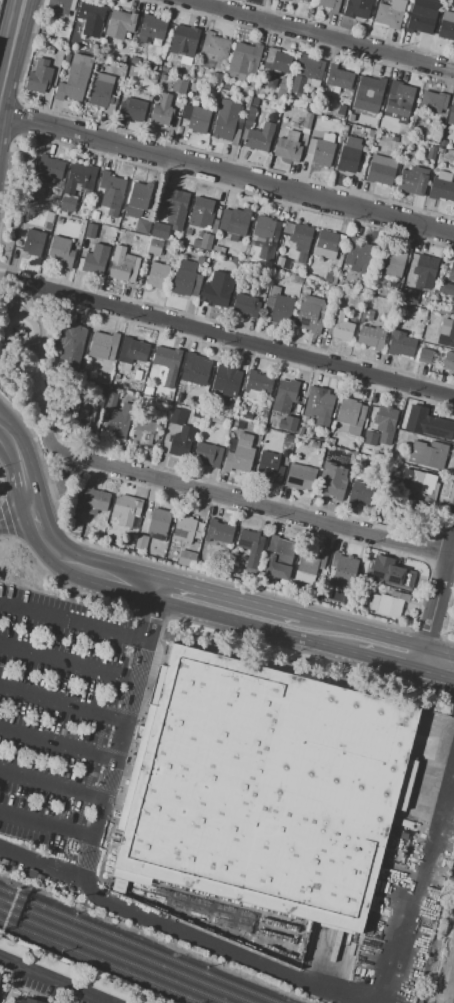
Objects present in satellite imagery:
building: (286, 0)
building: (305, 0)
building: (331, 5)
building: (61, 6)
building: (357, 8)
building: (91, 14)
building: (388, 16)
building: (420, 21)
building: (120, 23)
building: (447, 26)
building: (151, 28)
road: (320, 35)
building: (185, 40)
building: (215, 45)
building: (94, 48)
building: (51, 50)
road: (13, 53)
building: (122, 58)
building: (167, 58)
building: (134, 60)
building: (276, 60)
building: (99, 61)
building: (244, 61)
building: (154, 65)
building: (309, 67)
building: (164, 69)
building: (154, 75)
building: (340, 76)
building: (74, 77)
building: (163, 77)
building: (216, 78)
building: (169, 79)
building: (284, 80)
building: (36, 82)
building: (271, 82)
building: (298, 84)
building: (179, 86)
building: (192, 86)
building: (282, 86)
building: (370, 86)
building: (225, 87)
building: (115, 88)
building: (101, 90)
building: (281, 92)
building: (177, 99)
building: (190, 100)
building: (252, 101)
building: (398, 101)
building: (433, 101)
building: (132, 108)
building: (162, 109)
building: (287, 111)
building: (339, 114)
building: (451, 114)
building: (196, 117)
building: (250, 117)
building: (301, 117)
building: (226, 119)
building: (306, 123)
building: (237, 132)
building: (372, 132)
building: (261, 137)
building: (380, 139)
building: (443, 143)
building: (288, 146)
building: (433, 148)
building: (321, 149)
building: (442, 151)
building: (349, 156)
building: (430, 156)
building: (48, 168)
building: (381, 169)
road: (227, 175)
building: (444, 176)
building: (413, 180)
building: (77, 185)
building: (111, 190)
building: (441, 190)
building: (138, 197)
building: (222, 199)
building: (177, 201)
building: (95, 205)
building: (201, 212)
building: (218, 214)
building: (94, 215)
building: (58, 219)
building: (234, 223)
building: (46, 224)
building: (142, 226)
building: (214, 226)
building: (265, 228)
building: (89, 230)
building: (160, 230)
building: (125, 232)
building: (188, 233)
building: (130, 234)
building: (200, 235)
building: (299, 239)
building: (219, 240)
building: (206, 241)
building: (34, 242)
building: (196, 243)
building: (328, 244)
building: (233, 245)
building: (154, 247)
building: (218, 249)
building: (61, 251)
building: (253, 253)
building: (358, 253)
building: (96, 259)
building: (200, 259)
building: (391, 262)
building: (282, 263)
building: (265, 265)
building: (121, 267)
building: (424, 269)
building: (450, 272)
building: (158, 275)
road: (5, 276)
building: (328, 278)
building: (187, 280)
building: (349, 282)
building: (446, 288)
building: (307, 290)
building: (214, 293)
building: (407, 294)
building: (247, 305)
building: (278, 305)
building: (400, 306)
building: (452, 308)
building: (311, 314)
building: (367, 314)
building: (341, 327)
building: (446, 333)
building: (371, 336)
building: (72, 337)
road: (232, 337)
building: (401, 344)
building: (103, 345)
building: (132, 350)
building: (425, 355)
building: (167, 357)
park: (32, 361)
road: (41, 361)
building: (448, 361)
building: (126, 367)
building: (196, 369)
building: (84, 373)
building: (137, 375)
building: (116, 376)
building: (106, 380)
building: (227, 380)
building: (258, 382)
building: (102, 387)
building: (285, 395)
building: (176, 398)
building: (111, 400)
building: (319, 406)
building: (247, 411)
building: (196, 413)
building: (263, 414)
building: (79, 416)
building: (350, 416)
building: (390, 416)
road: (1, 420)
road: (1, 421)
building: (119, 422)
building: (235, 423)
building: (287, 423)
building: (240, 425)
building: (434, 427)
road: (32, 429)
building: (300, 431)
building: (144, 432)
building: (181, 435)
building: (370, 437)
road: (13, 438)
building: (380, 440)
road: (9, 451)
building: (428, 454)
building: (207, 455)
building: (239, 455)
building: (269, 467)
building: (300, 476)
building: (332, 481)
road: (25, 482)
building: (422, 484)
road: (61, 487)
building: (364, 494)
building: (94, 500)
road: (245, 501)
building: (127, 510)
road: (16, 515)
building: (159, 521)
building: (144, 524)
building: (76, 527)
building: (184, 528)
building: (219, 532)
road: (47, 540)
building: (248, 540)
building: (142, 543)
building: (279, 557)
building: (187, 558)
building: (311, 562)
building: (343, 568)
building: (377, 571)
building: (395, 575)
road: (113, 576)
road: (439, 594)
road: (228, 595)
building: (374, 602)
building: (391, 604)
road: (149, 614)
road: (71, 622)
road: (330, 622)
road: (250, 624)
road: (393, 639)
road: (440, 654)
road: (423, 658)
road: (386, 659)
road: (66, 660)
road: (437, 668)
road: (61, 704)
road: (126, 712)
street lamp: (37, 719)
parking lot: (53, 726)
street lamp: (96, 733)
road: (100, 734)
road: (56, 742)
road: (112, 765)
road: (51, 784)
building: (264, 788)
street lamp: (8, 794)
street lamp: (71, 810)
road: (46, 827)
street lamp: (17, 839)
road: (84, 842)
street lamp: (79, 855)
road: (44, 866)
road: (424, 886)
road: (105, 899)
building: (220, 914)
railway: (136, 946)
railway: (125, 951)
railway: (111, 956)
railway: (99, 962)
building: (49, 964)
building: (0, 976)
road: (52, 981)
building: (1, 985)
road: (11, 985)
road: (61, 994)
building: (28, 1000)

